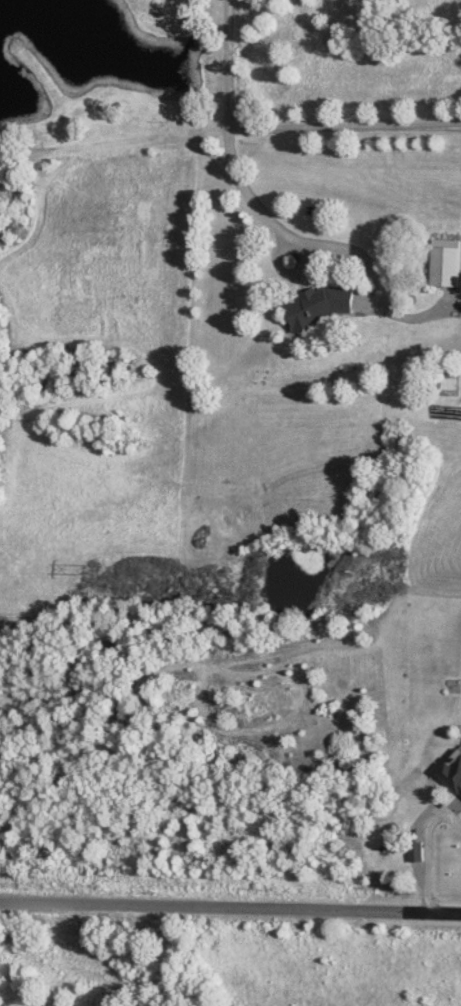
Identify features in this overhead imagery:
building: (447, 263)
building: (323, 305)
building: (448, 384)
power tower: (95, 571)
building: (454, 773)
road: (423, 849)
road: (230, 909)

